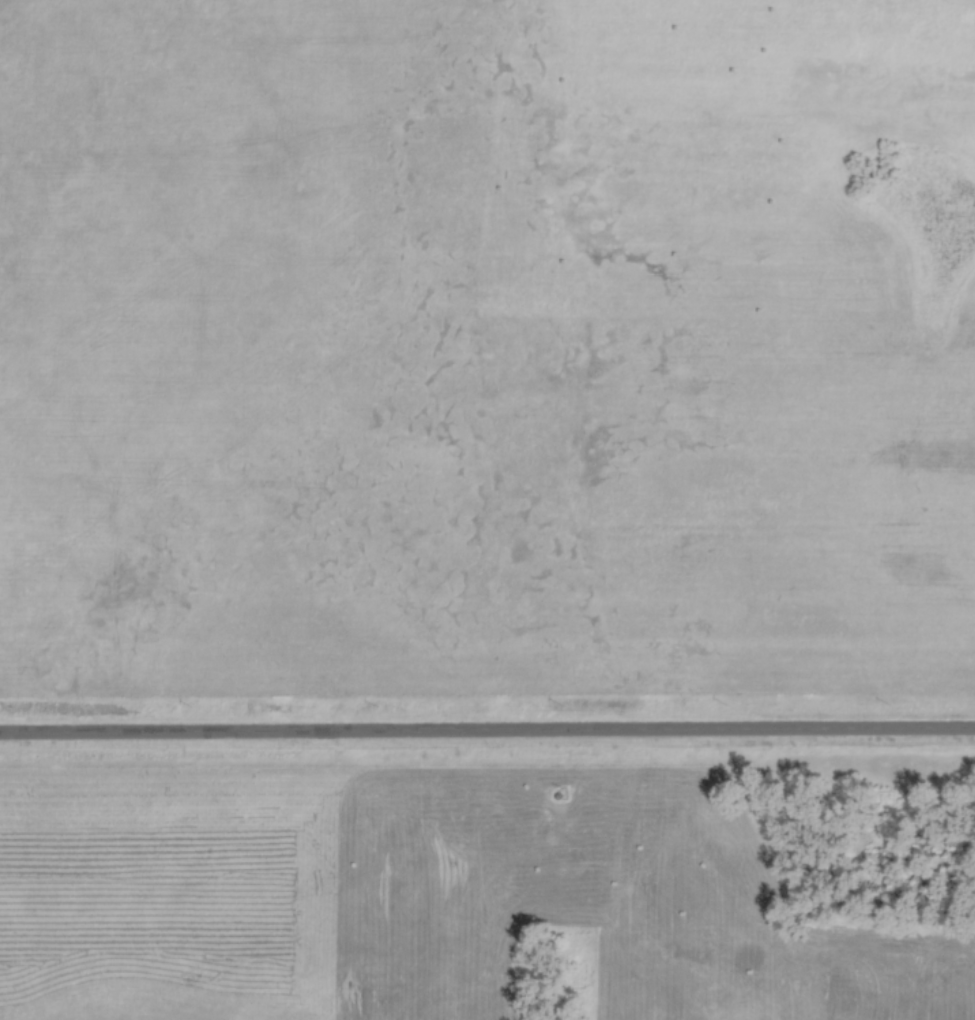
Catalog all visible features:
road: (487, 733)

